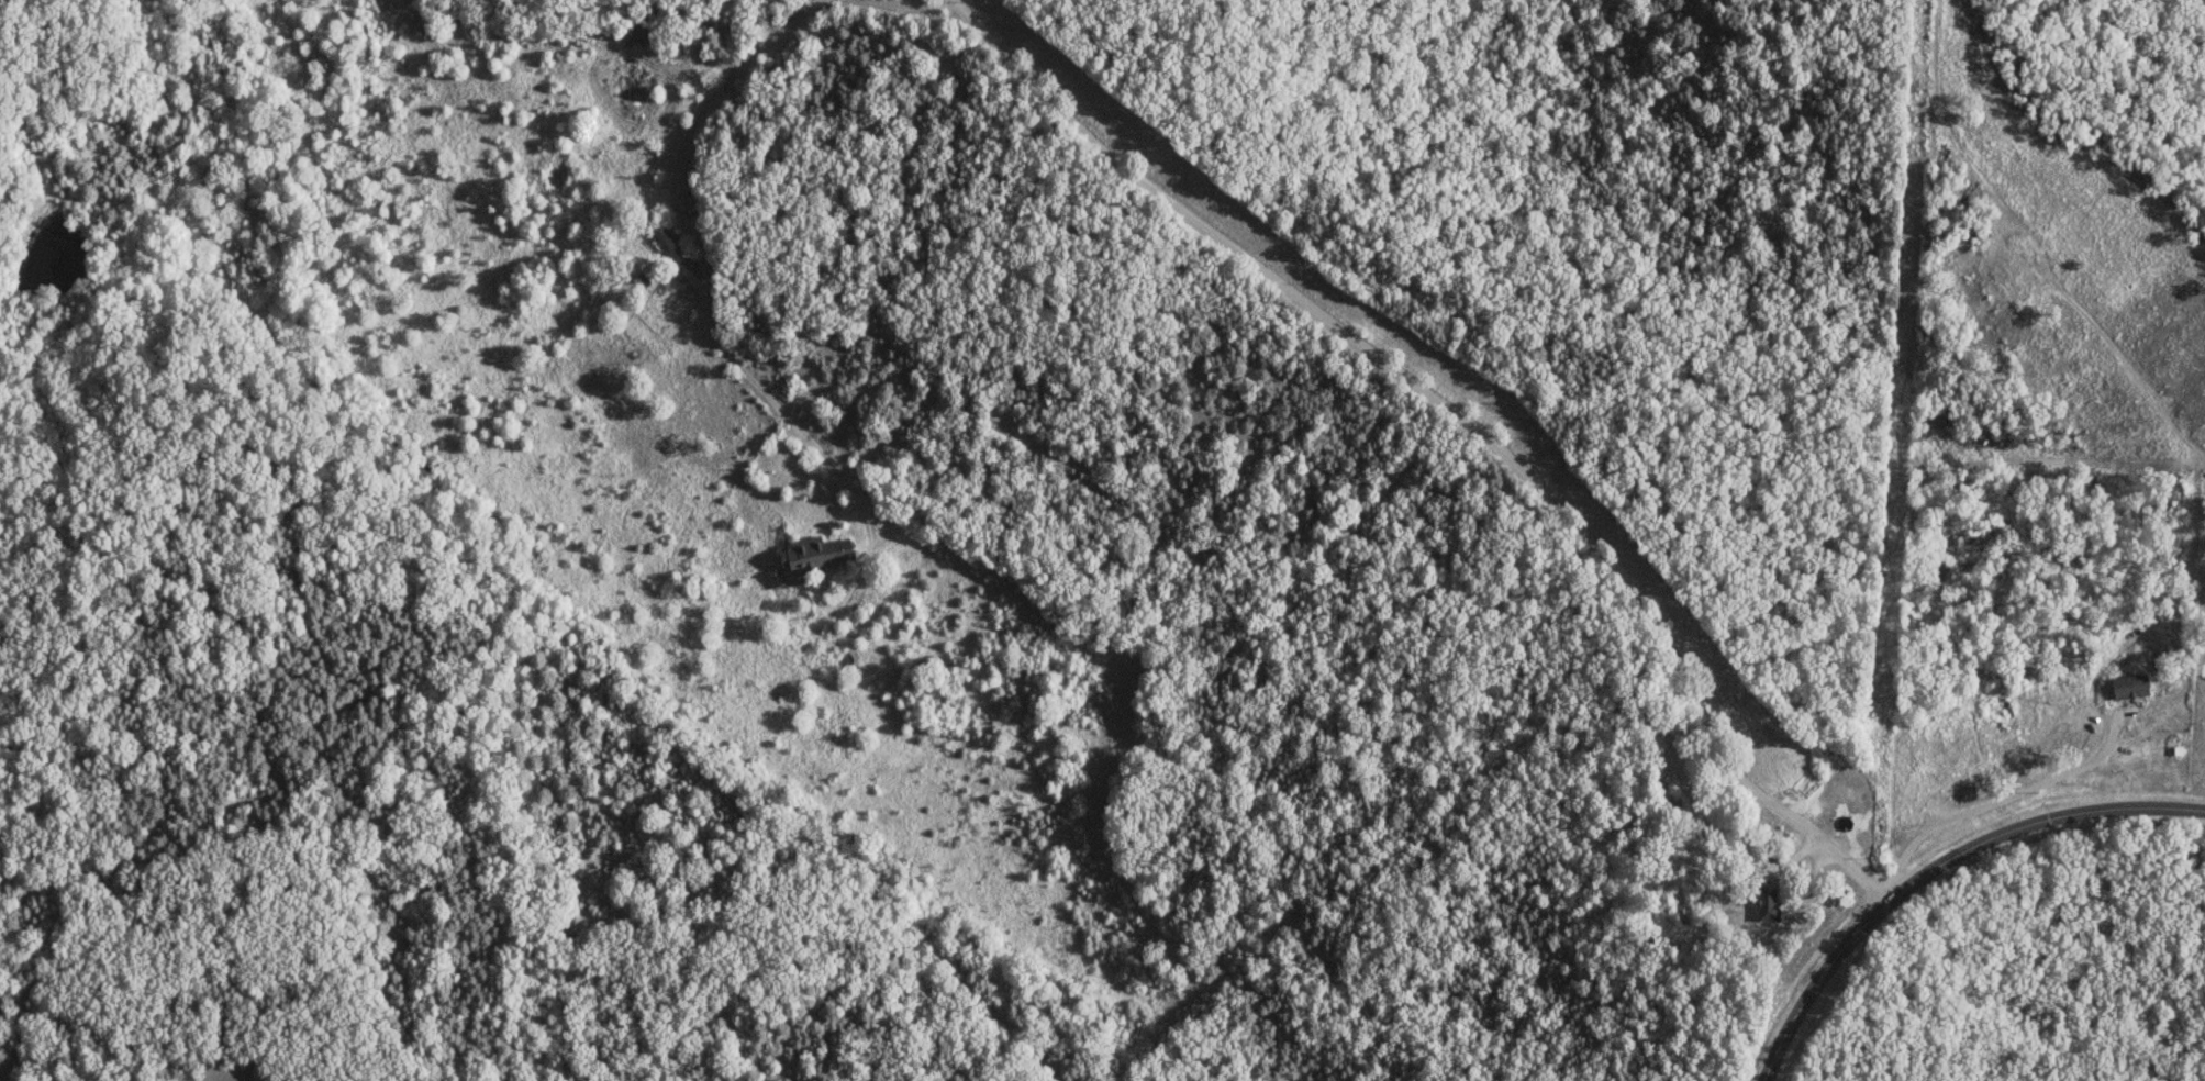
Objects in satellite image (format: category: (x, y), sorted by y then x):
building: (632, 30)
building: (673, 247)
road: (1456, 410)
building: (817, 554)
building: (2033, 756)
building: (1987, 774)
road: (1933, 863)
building: (1769, 904)

